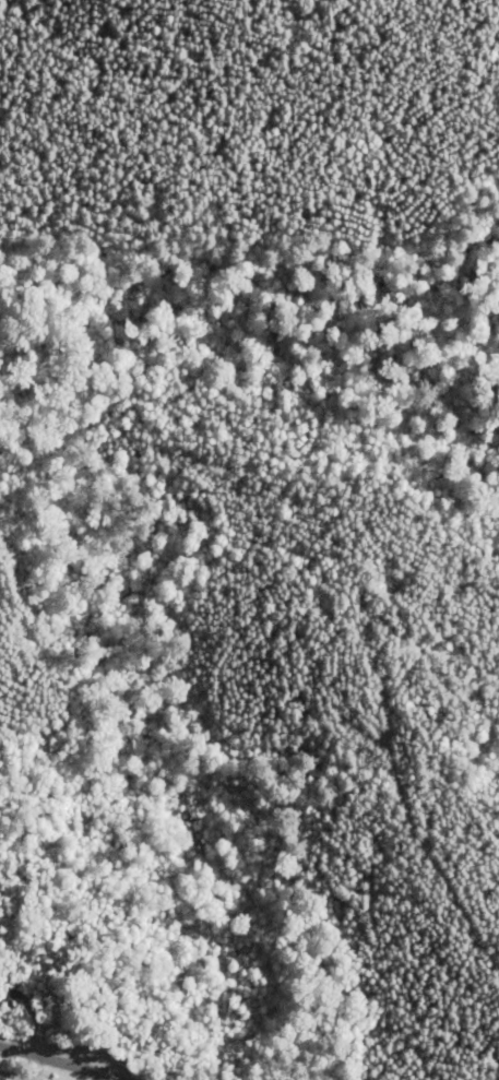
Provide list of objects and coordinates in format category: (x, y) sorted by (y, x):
building: (17, 1000)
road: (82, 1055)

